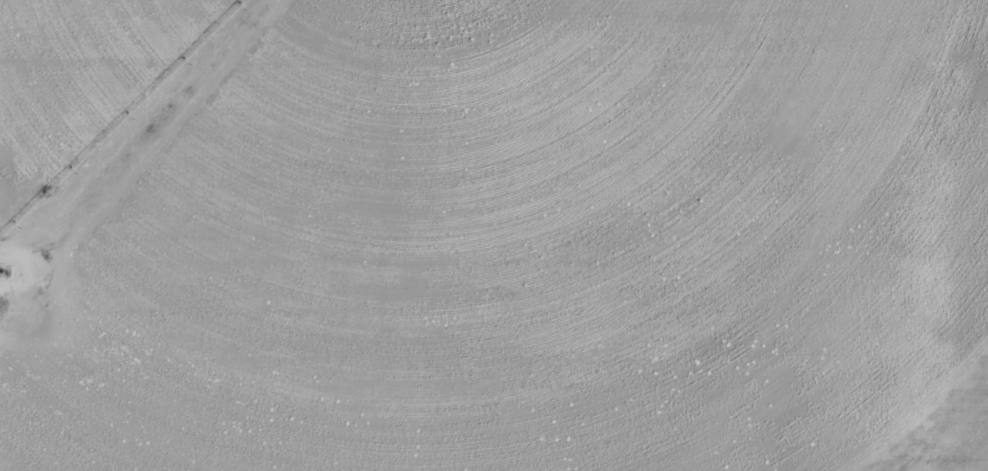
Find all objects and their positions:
petroleum well: (2, 269)

